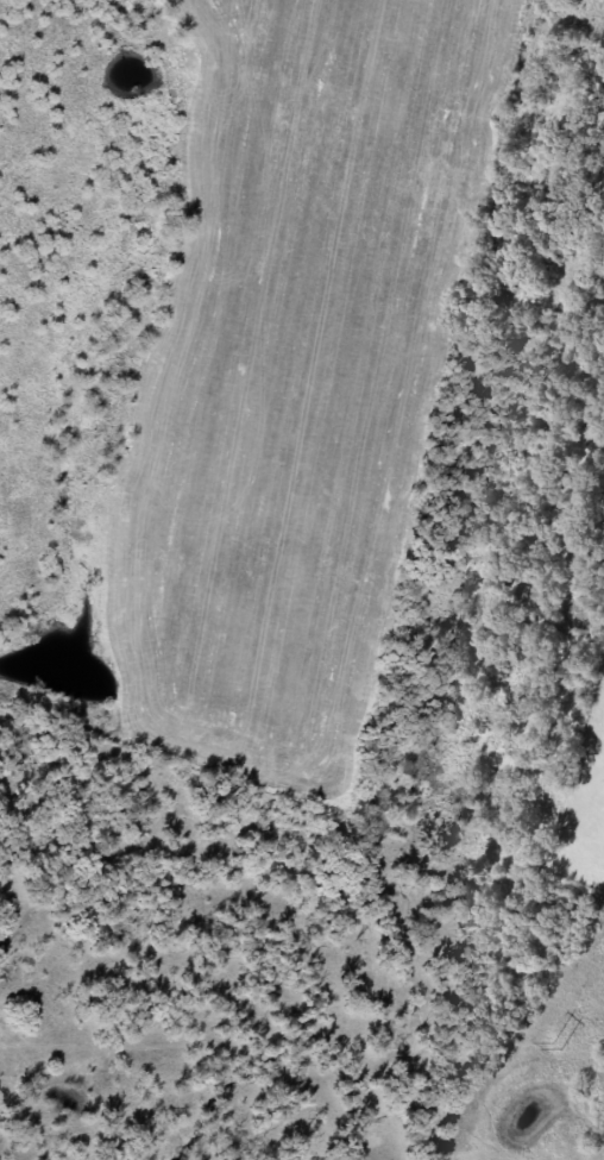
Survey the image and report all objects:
power tower: (554, 1042)

